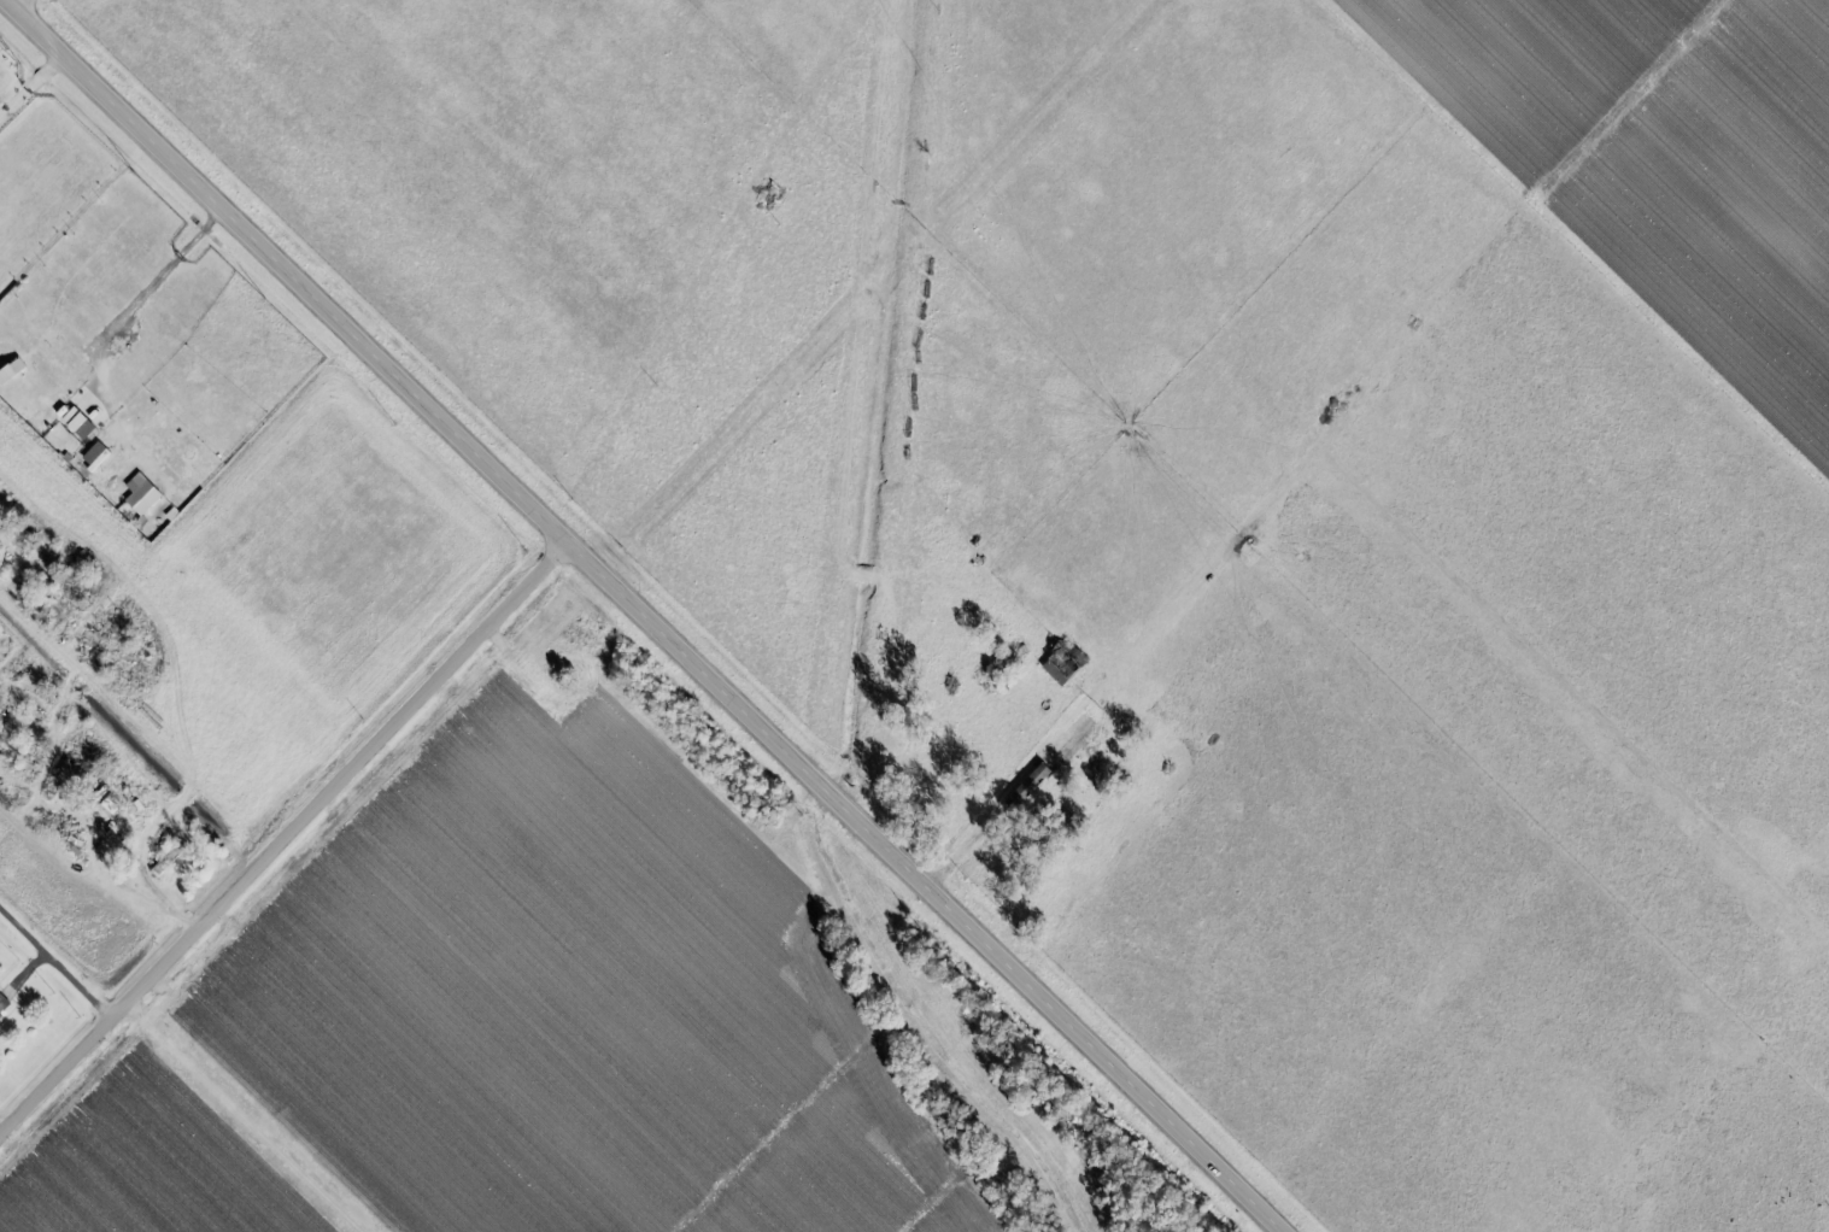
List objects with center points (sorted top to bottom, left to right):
road: (28, 11)
road: (28, 84)
building: (11, 362)
road: (633, 617)
road: (1172, 638)
road: (1583, 693)
building: (1074, 734)
building: (1042, 765)
building: (1095, 765)
road: (281, 841)
road: (54, 966)
building: (4, 1004)

